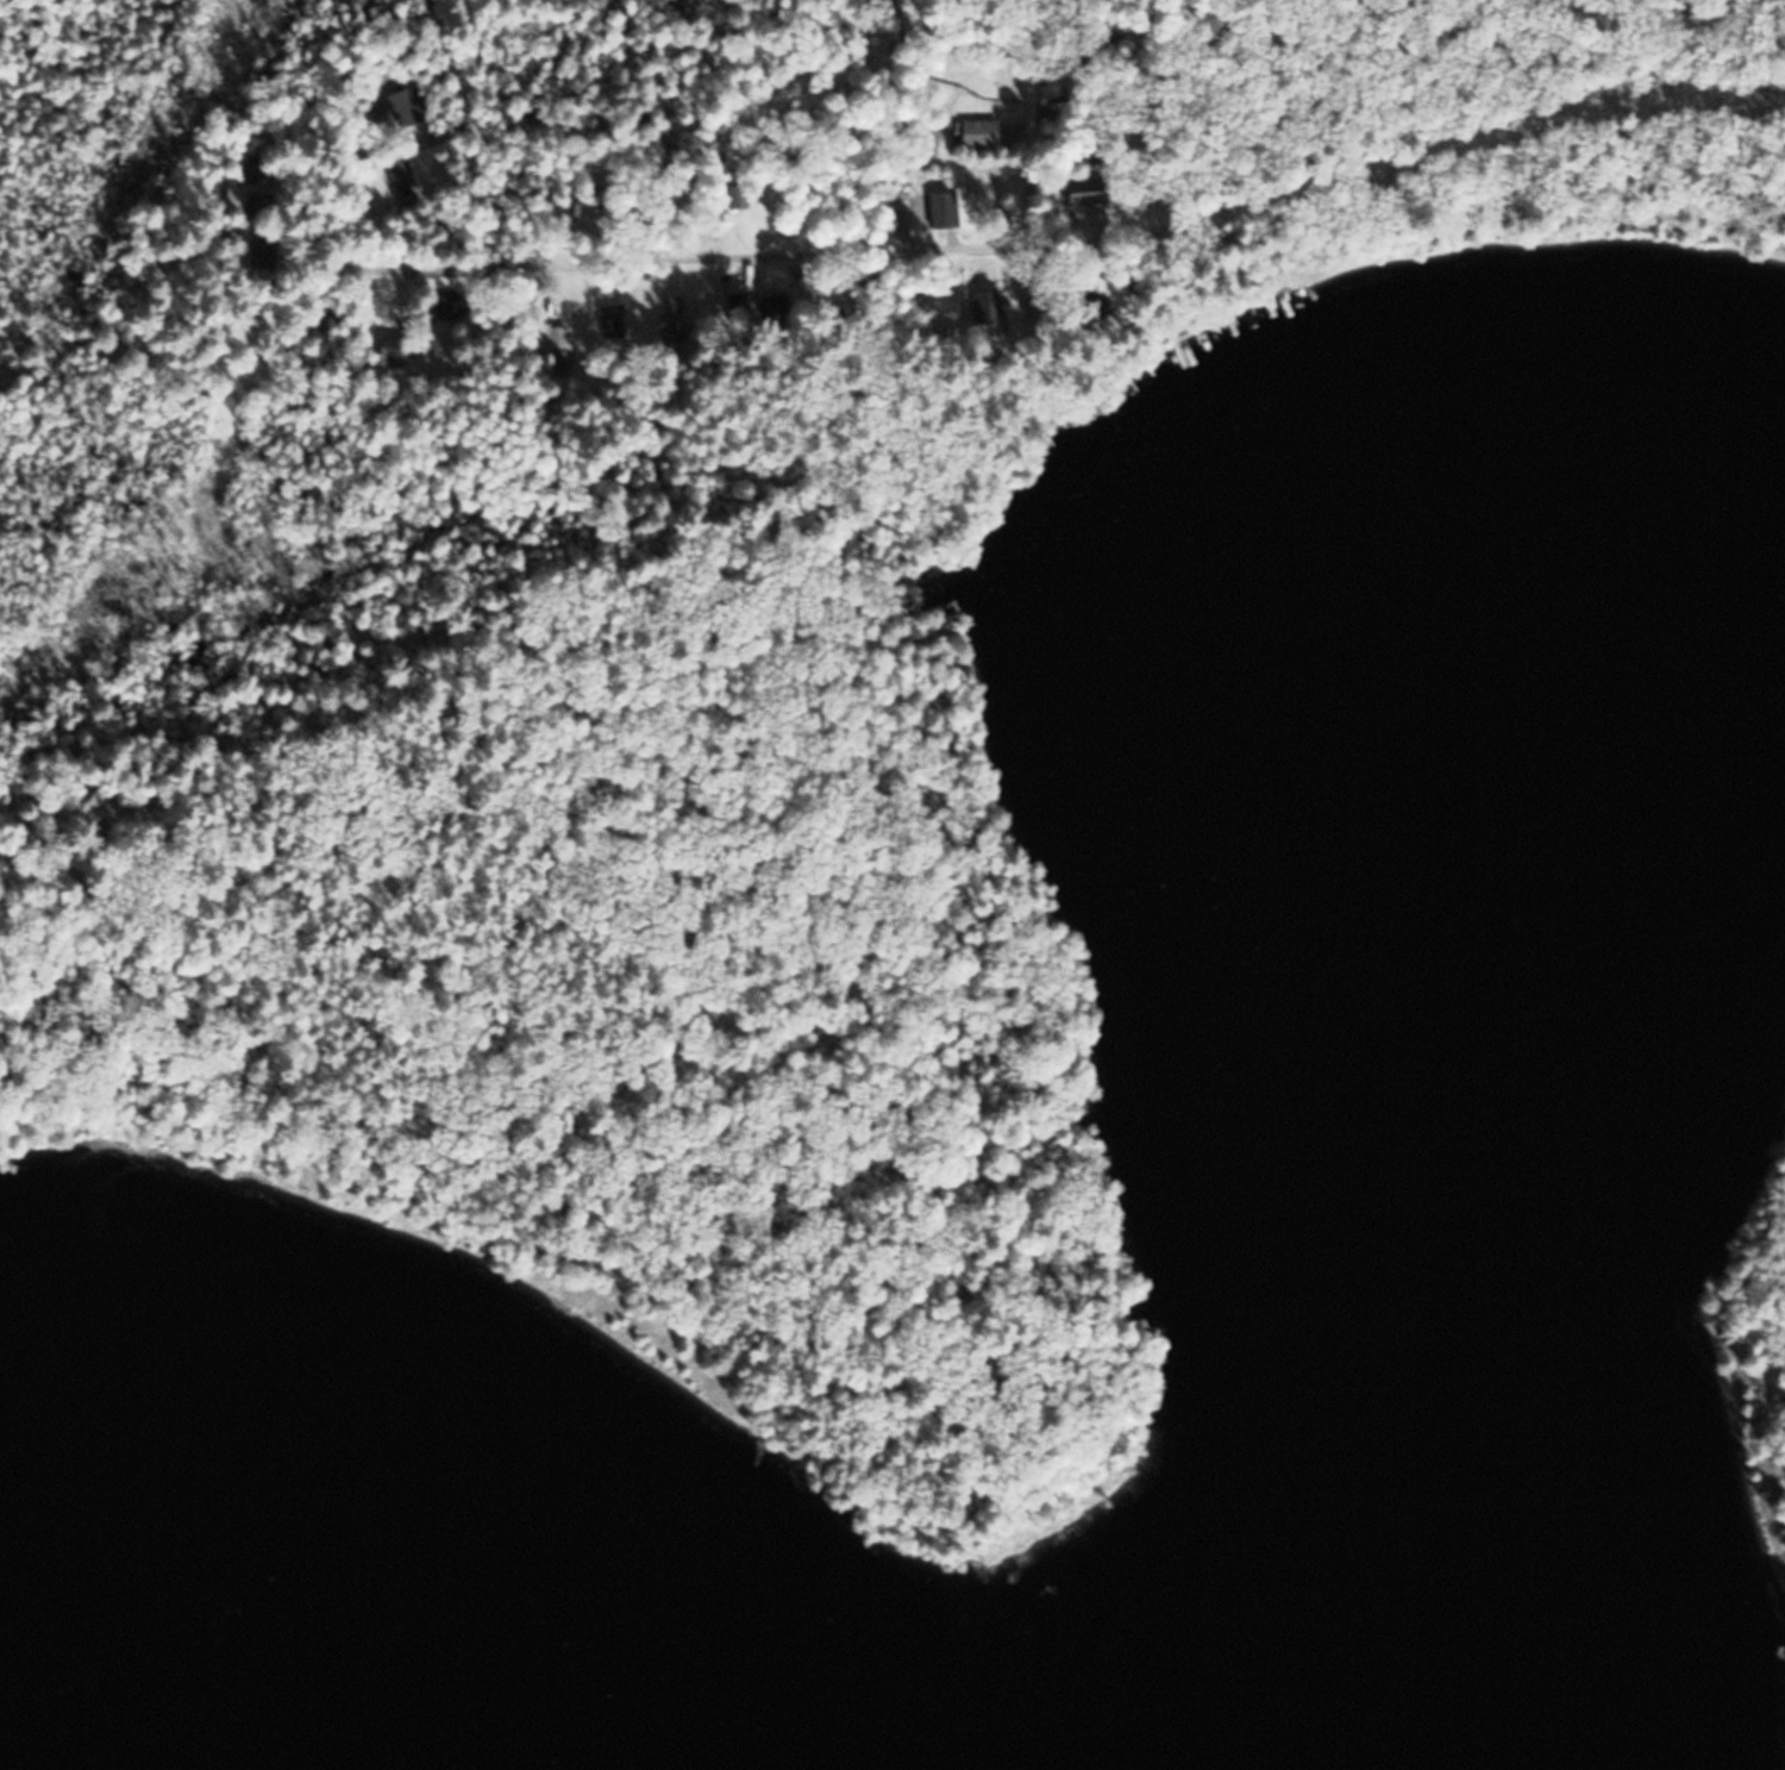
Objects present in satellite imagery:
building: (973, 132)
road: (1471, 133)
building: (393, 171)
building: (1079, 192)
building: (937, 207)
road: (897, 245)
road: (425, 268)
road: (543, 279)
building: (981, 306)
building: (733, 307)
building: (769, 308)
building: (938, 309)
building: (664, 315)
building: (608, 321)
building: (551, 337)
building: (382, 351)
river: (1449, 1147)
river: (127, 1750)

